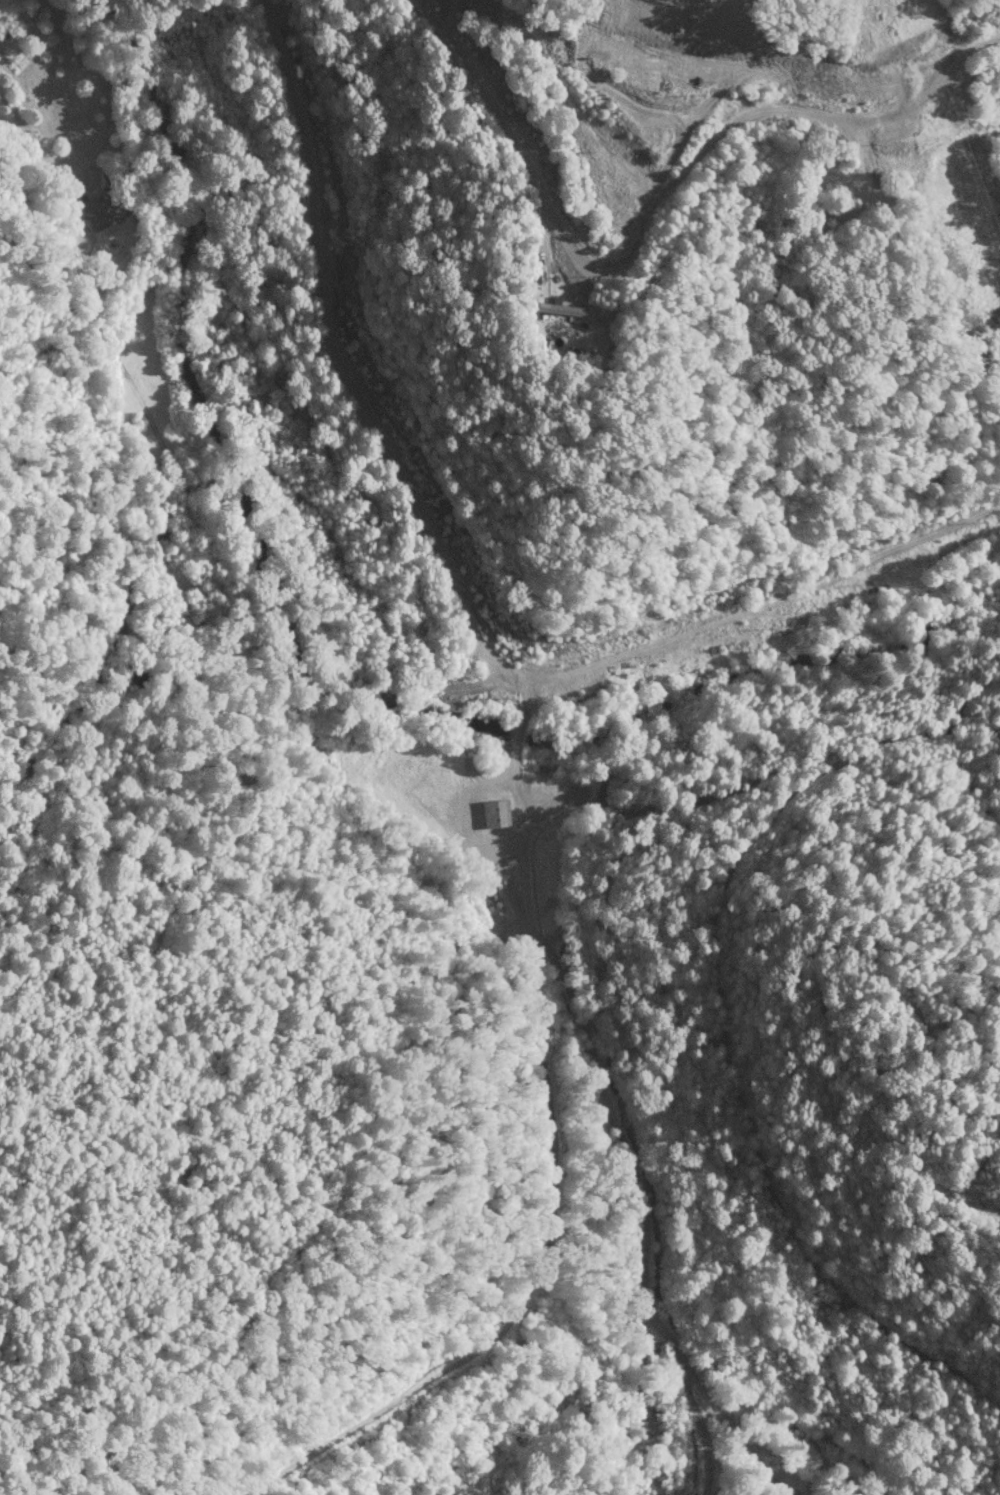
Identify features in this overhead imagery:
building: (604, 51)
building: (639, 65)
road: (645, 206)
building: (99, 209)
building: (558, 307)
road: (335, 359)
building: (493, 813)
road: (531, 923)

